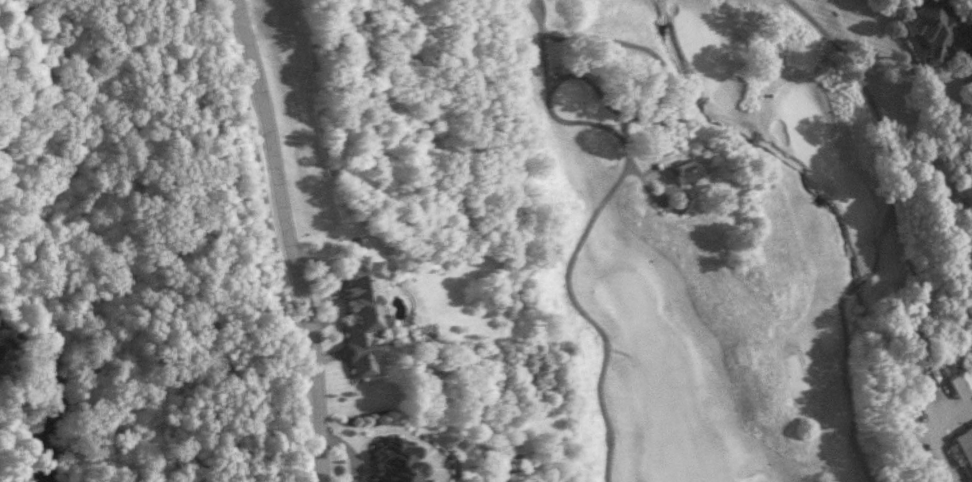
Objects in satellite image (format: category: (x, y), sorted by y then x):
building: (943, 29)
road: (681, 101)
road: (595, 124)
building: (679, 175)
park: (719, 234)
road: (292, 237)
road: (878, 237)
building: (364, 311)
road: (601, 361)
building: (963, 384)
road: (939, 440)
building: (965, 445)
building: (398, 462)

